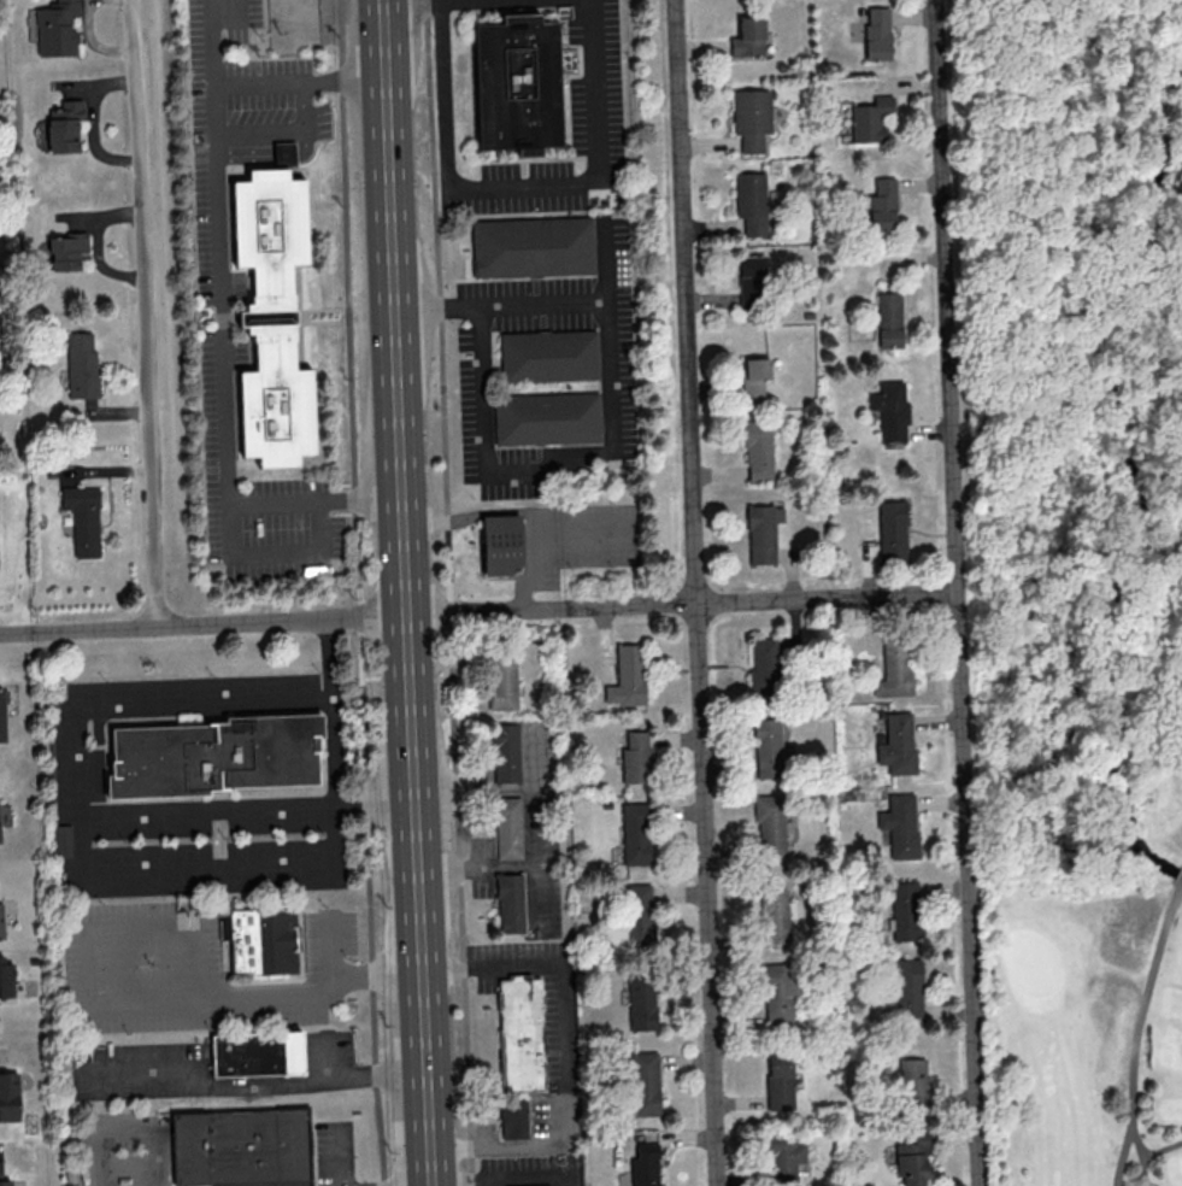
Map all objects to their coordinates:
road: (441, 1)
road: (474, 1)
road: (412, 2)
road: (352, 4)
road: (329, 20)
power substation: (298, 27)
building: (55, 28)
building: (877, 33)
building: (748, 36)
road: (346, 80)
road: (220, 81)
building: (522, 84)
building: (751, 118)
building: (871, 119)
road: (310, 121)
building: (64, 125)
road: (247, 154)
road: (287, 154)
building: (287, 157)
road: (527, 189)
building: (751, 201)
building: (882, 205)
building: (534, 248)
building: (66, 249)
road: (393, 262)
building: (751, 281)
road: (542, 305)
road: (143, 313)
building: (275, 317)
building: (889, 319)
building: (551, 357)
building: (81, 364)
park: (1039, 372)
building: (754, 375)
road: (228, 386)
building: (889, 410)
building: (547, 419)
building: (758, 450)
road: (551, 470)
river: (1137, 488)
road: (360, 499)
road: (276, 503)
road: (472, 515)
building: (83, 518)
building: (892, 530)
building: (761, 533)
road: (535, 538)
building: (502, 545)
road: (606, 546)
road: (405, 570)
road: (357, 593)
road: (451, 593)
road: (695, 593)
road: (957, 593)
road: (681, 604)
road: (370, 620)
road: (165, 627)
building: (763, 665)
building: (895, 669)
building: (627, 675)
building: (504, 680)
building: (1, 715)
building: (896, 744)
building: (768, 747)
road: (336, 752)
building: (507, 755)
building: (214, 757)
building: (635, 757)
park: (1107, 773)
road: (475, 789)
road: (535, 793)
road: (208, 809)
road: (78, 810)
building: (770, 824)
building: (900, 824)
building: (510, 829)
building: (635, 833)
building: (61, 840)
road: (510, 864)
road: (1181, 889)
road: (419, 902)
building: (512, 904)
building: (904, 910)
building: (637, 914)
building: (774, 916)
building: (0, 920)
building: (263, 941)
road: (333, 949)
building: (6, 977)
building: (907, 988)
building: (778, 991)
building: (641, 1000)
road: (139, 1005)
road: (1146, 1005)
building: (519, 1033)
road: (564, 1052)
building: (259, 1055)
road: (328, 1062)
building: (778, 1081)
building: (912, 1081)
building: (645, 1082)
road: (255, 1086)
building: (8, 1096)
building: (516, 1120)
road: (134, 1134)
building: (242, 1149)
road: (1163, 1150)
road: (1124, 1155)
road: (1143, 1155)
road: (346, 1157)
building: (784, 1157)
building: (912, 1157)
road: (571, 1159)
building: (645, 1166)
building: (4, 1180)
road: (511, 1180)

